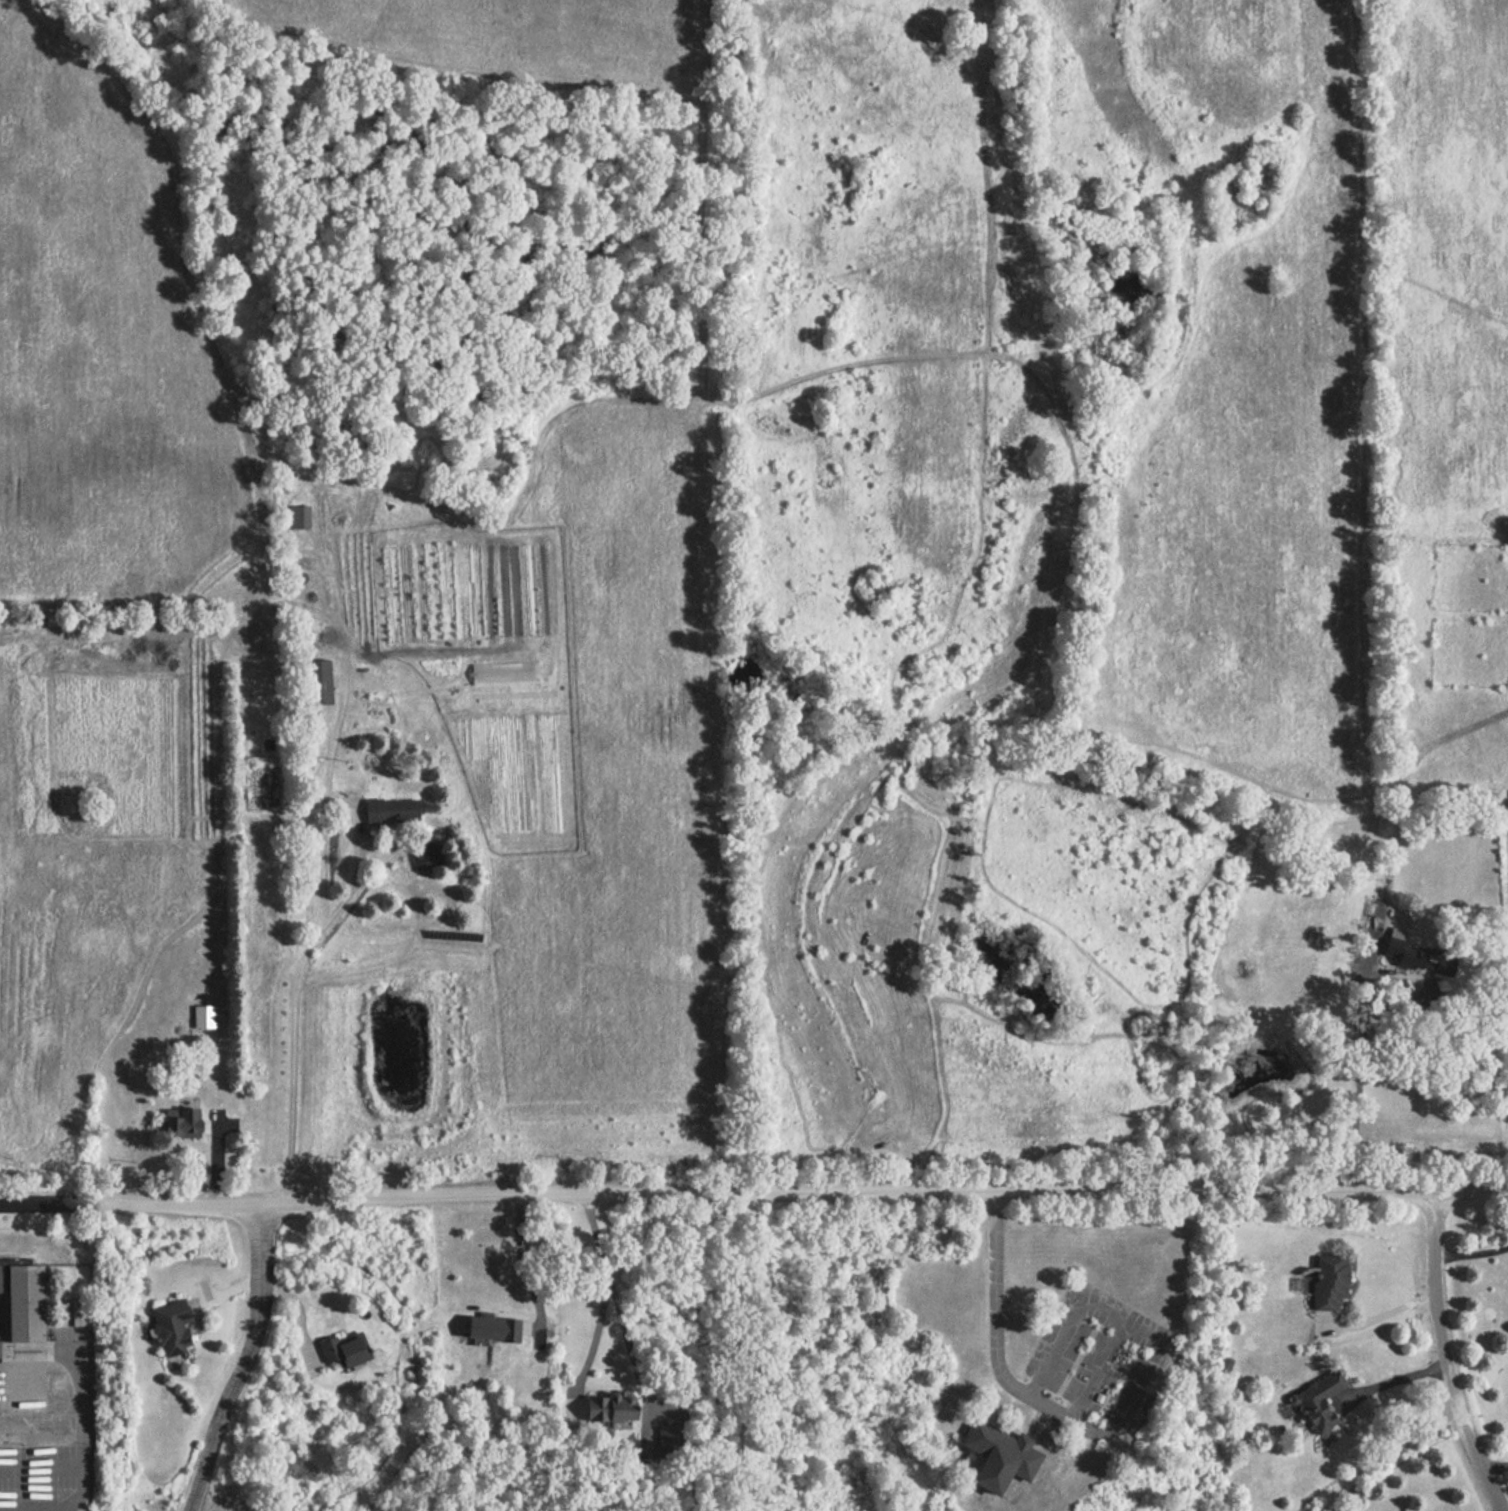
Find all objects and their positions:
building: (296, 516)
building: (313, 682)
road: (334, 733)
building: (389, 810)
road: (327, 919)
road: (876, 999)
building: (200, 1015)
road: (1359, 1089)
building: (180, 1122)
road: (812, 1191)
road: (58, 1199)
road: (1472, 1254)
road: (528, 1267)
building: (1326, 1283)
road: (606, 1289)
building: (22, 1299)
road: (1387, 1312)
building: (171, 1326)
building: (341, 1350)
road: (630, 1350)
road: (1448, 1355)
road: (243, 1358)
road: (1400, 1380)
building: (604, 1408)
building: (1311, 1411)
road: (1112, 1425)
road: (81, 1443)
road: (1495, 1461)

